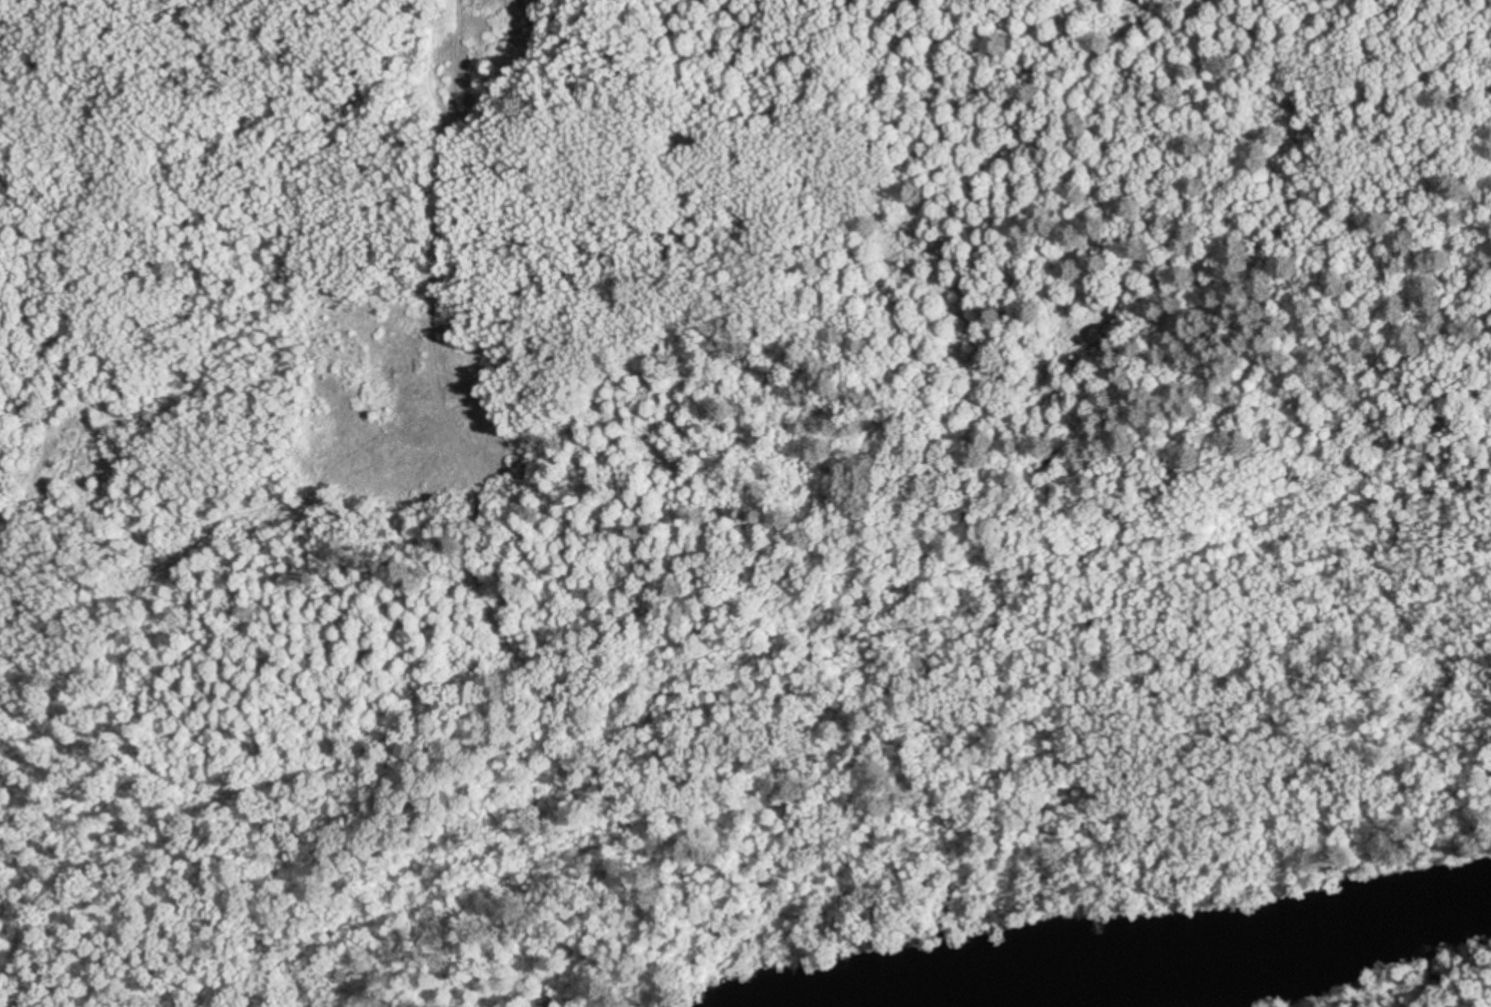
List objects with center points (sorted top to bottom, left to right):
river: (1237, 959)

